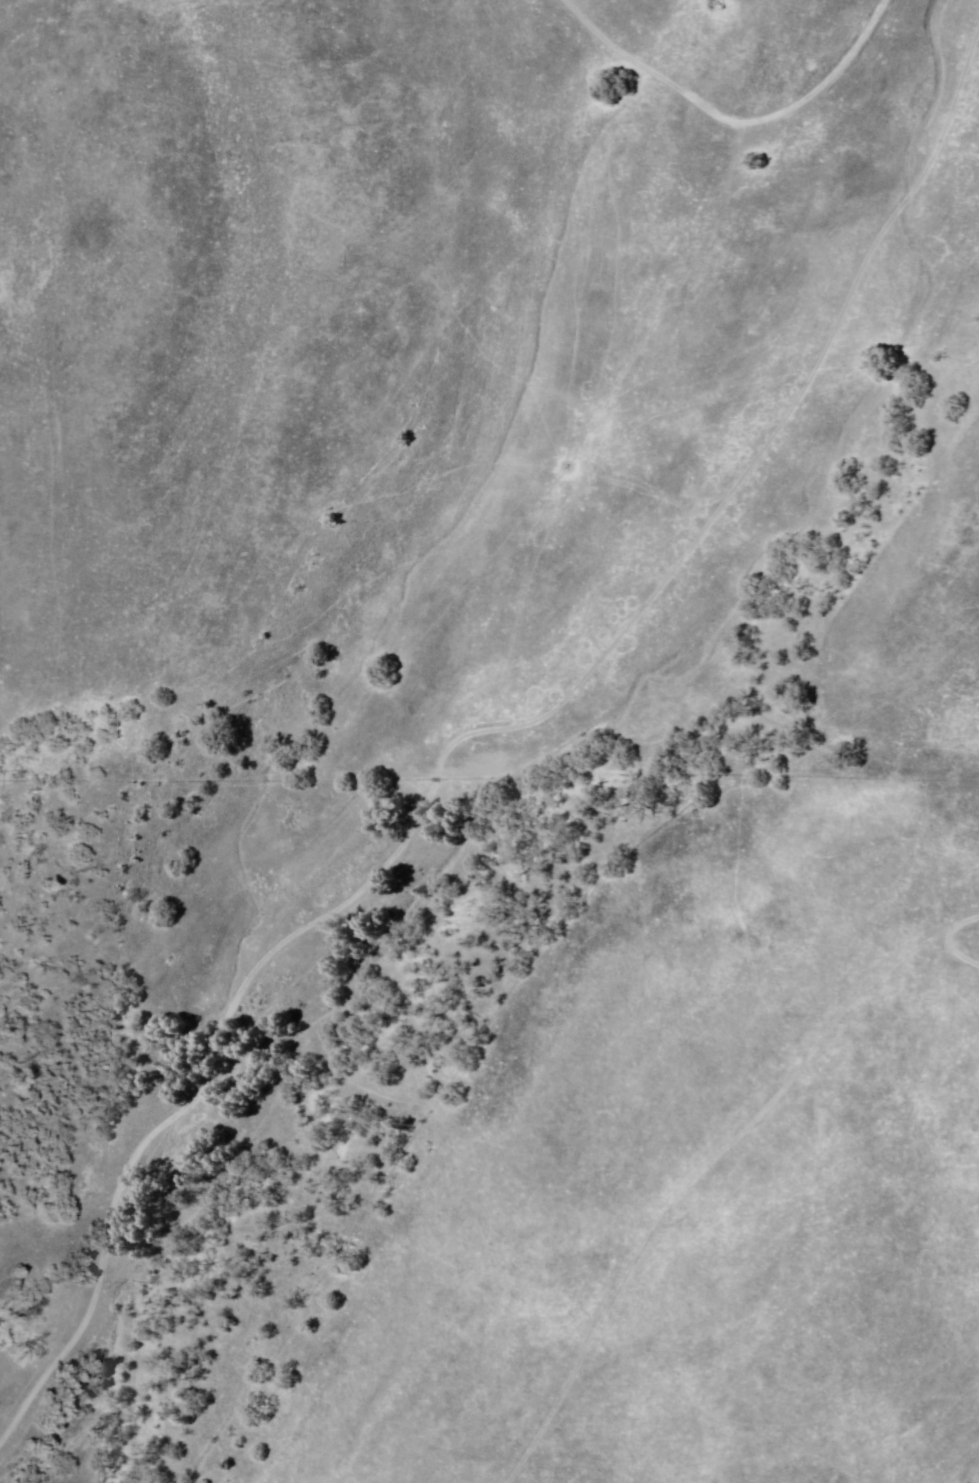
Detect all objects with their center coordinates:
road: (744, 74)

